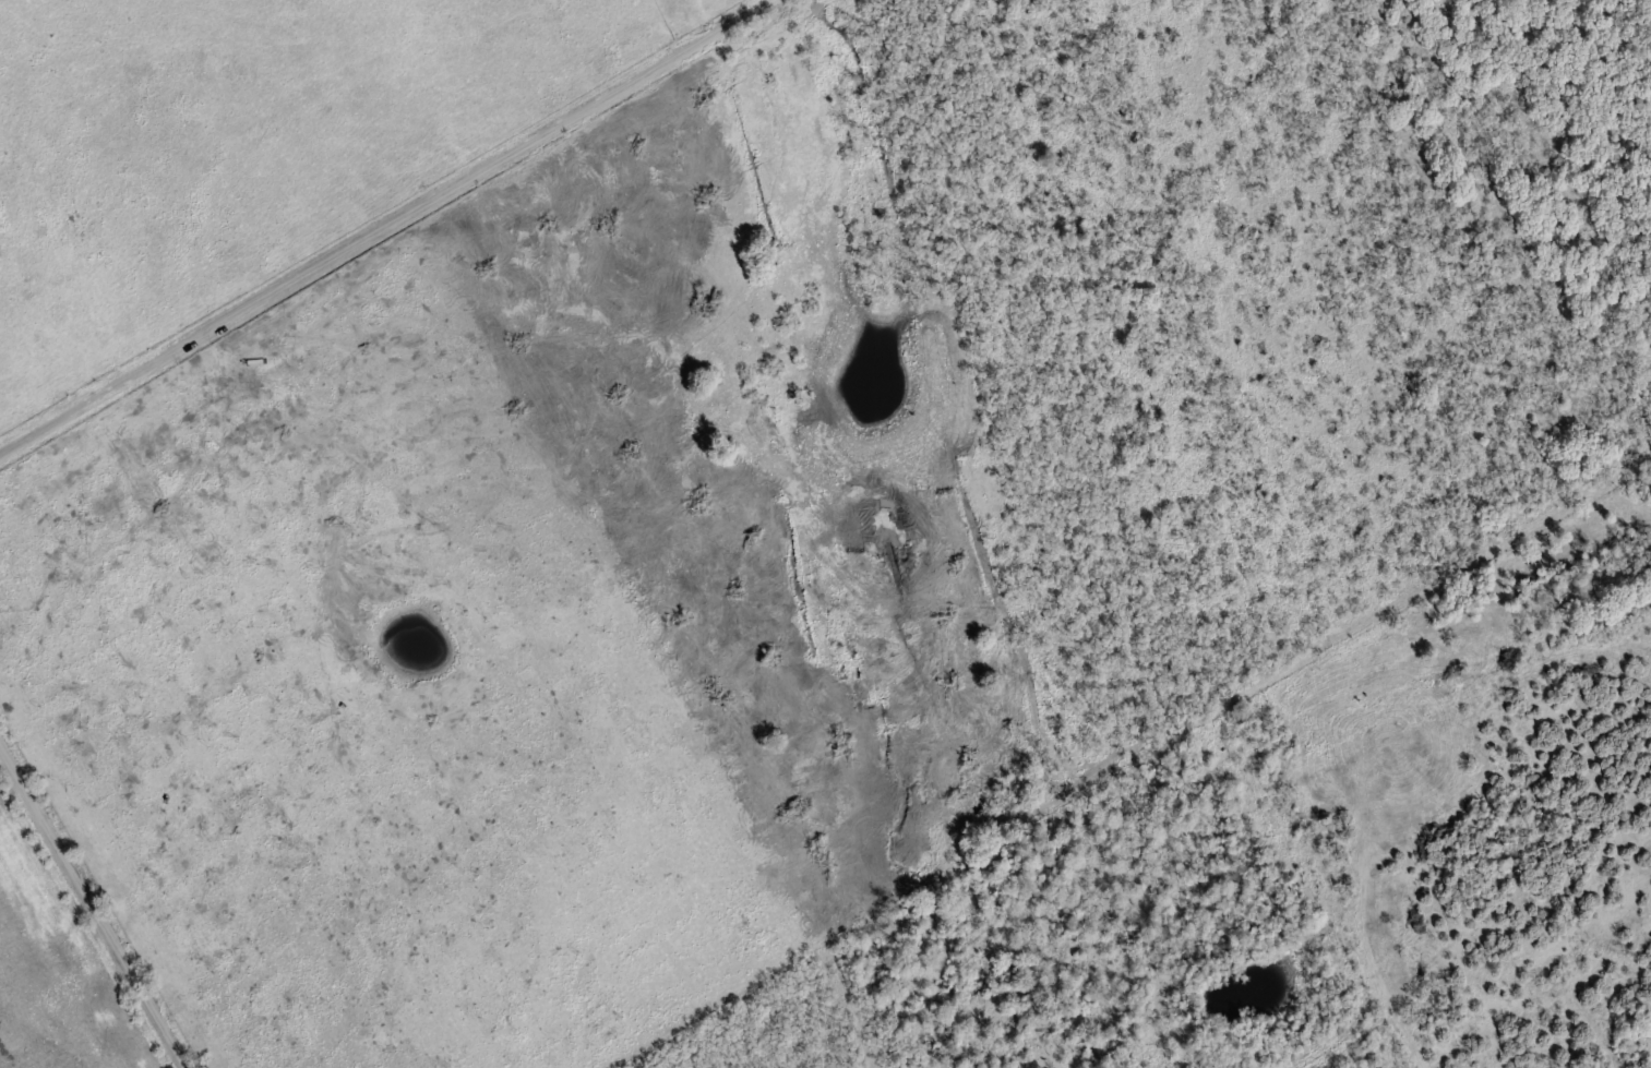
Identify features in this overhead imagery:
road: (379, 220)
road: (92, 910)

